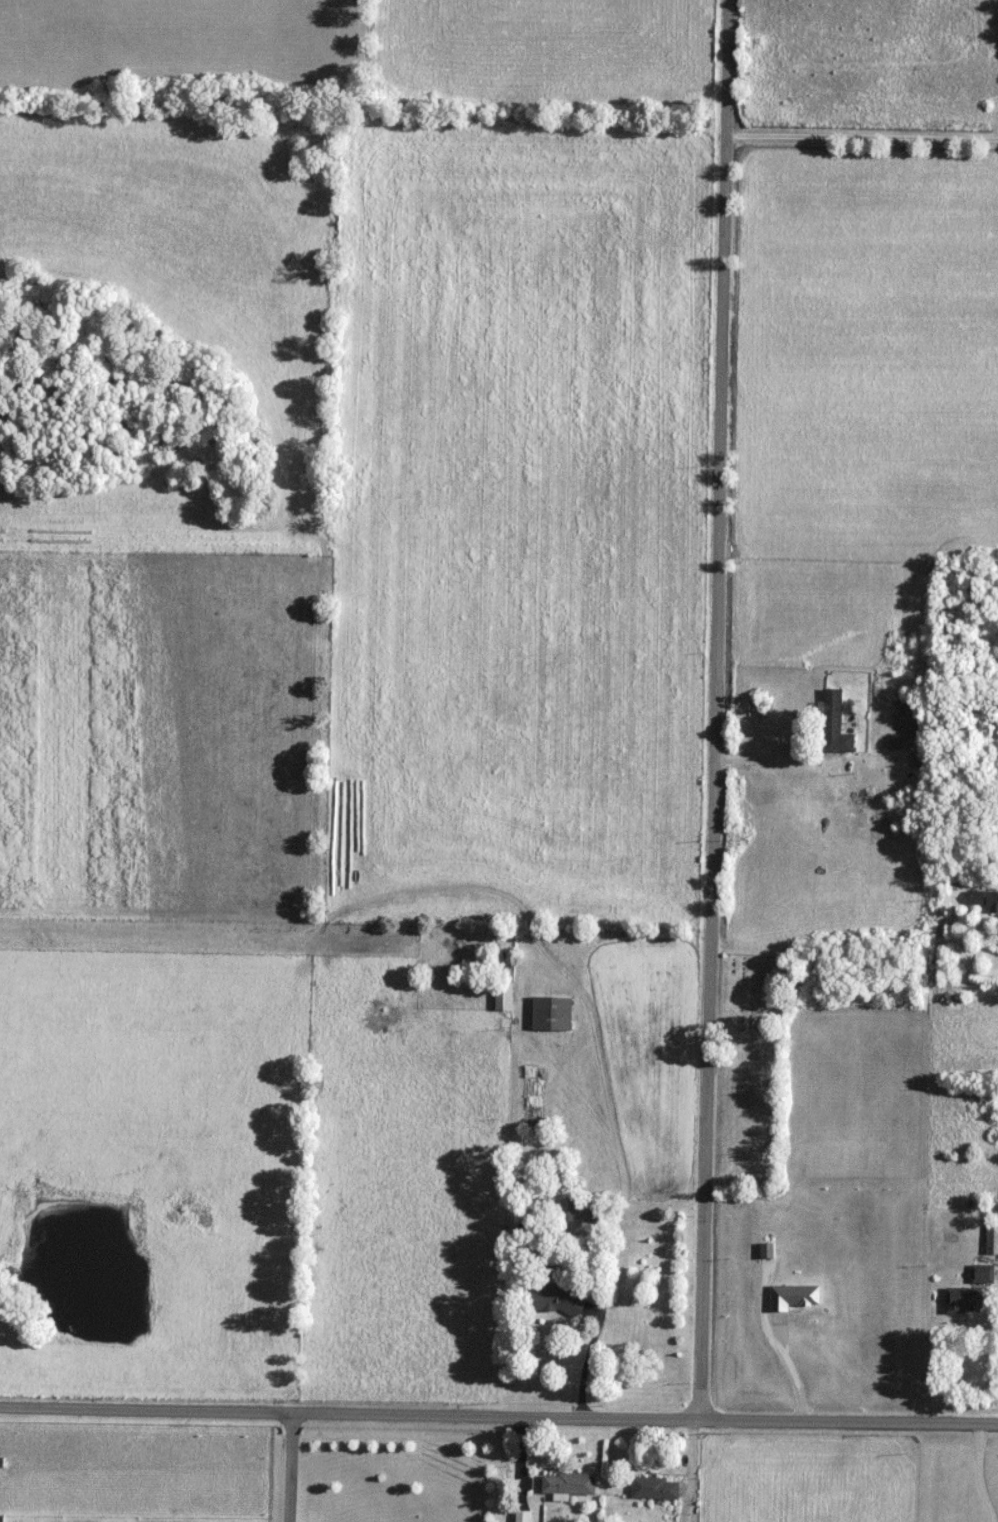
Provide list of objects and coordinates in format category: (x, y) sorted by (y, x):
road: (866, 134)
building: (911, 709)
road: (721, 711)
building: (835, 723)
road: (773, 760)
building: (984, 899)
park: (751, 995)
building: (503, 996)
building: (551, 1014)
road: (621, 1172)
building: (582, 1211)
building: (991, 1237)
building: (982, 1274)
building: (554, 1300)
building: (963, 1301)
road: (790, 1370)
road: (498, 1418)
road: (294, 1468)
building: (568, 1484)
building: (654, 1489)

